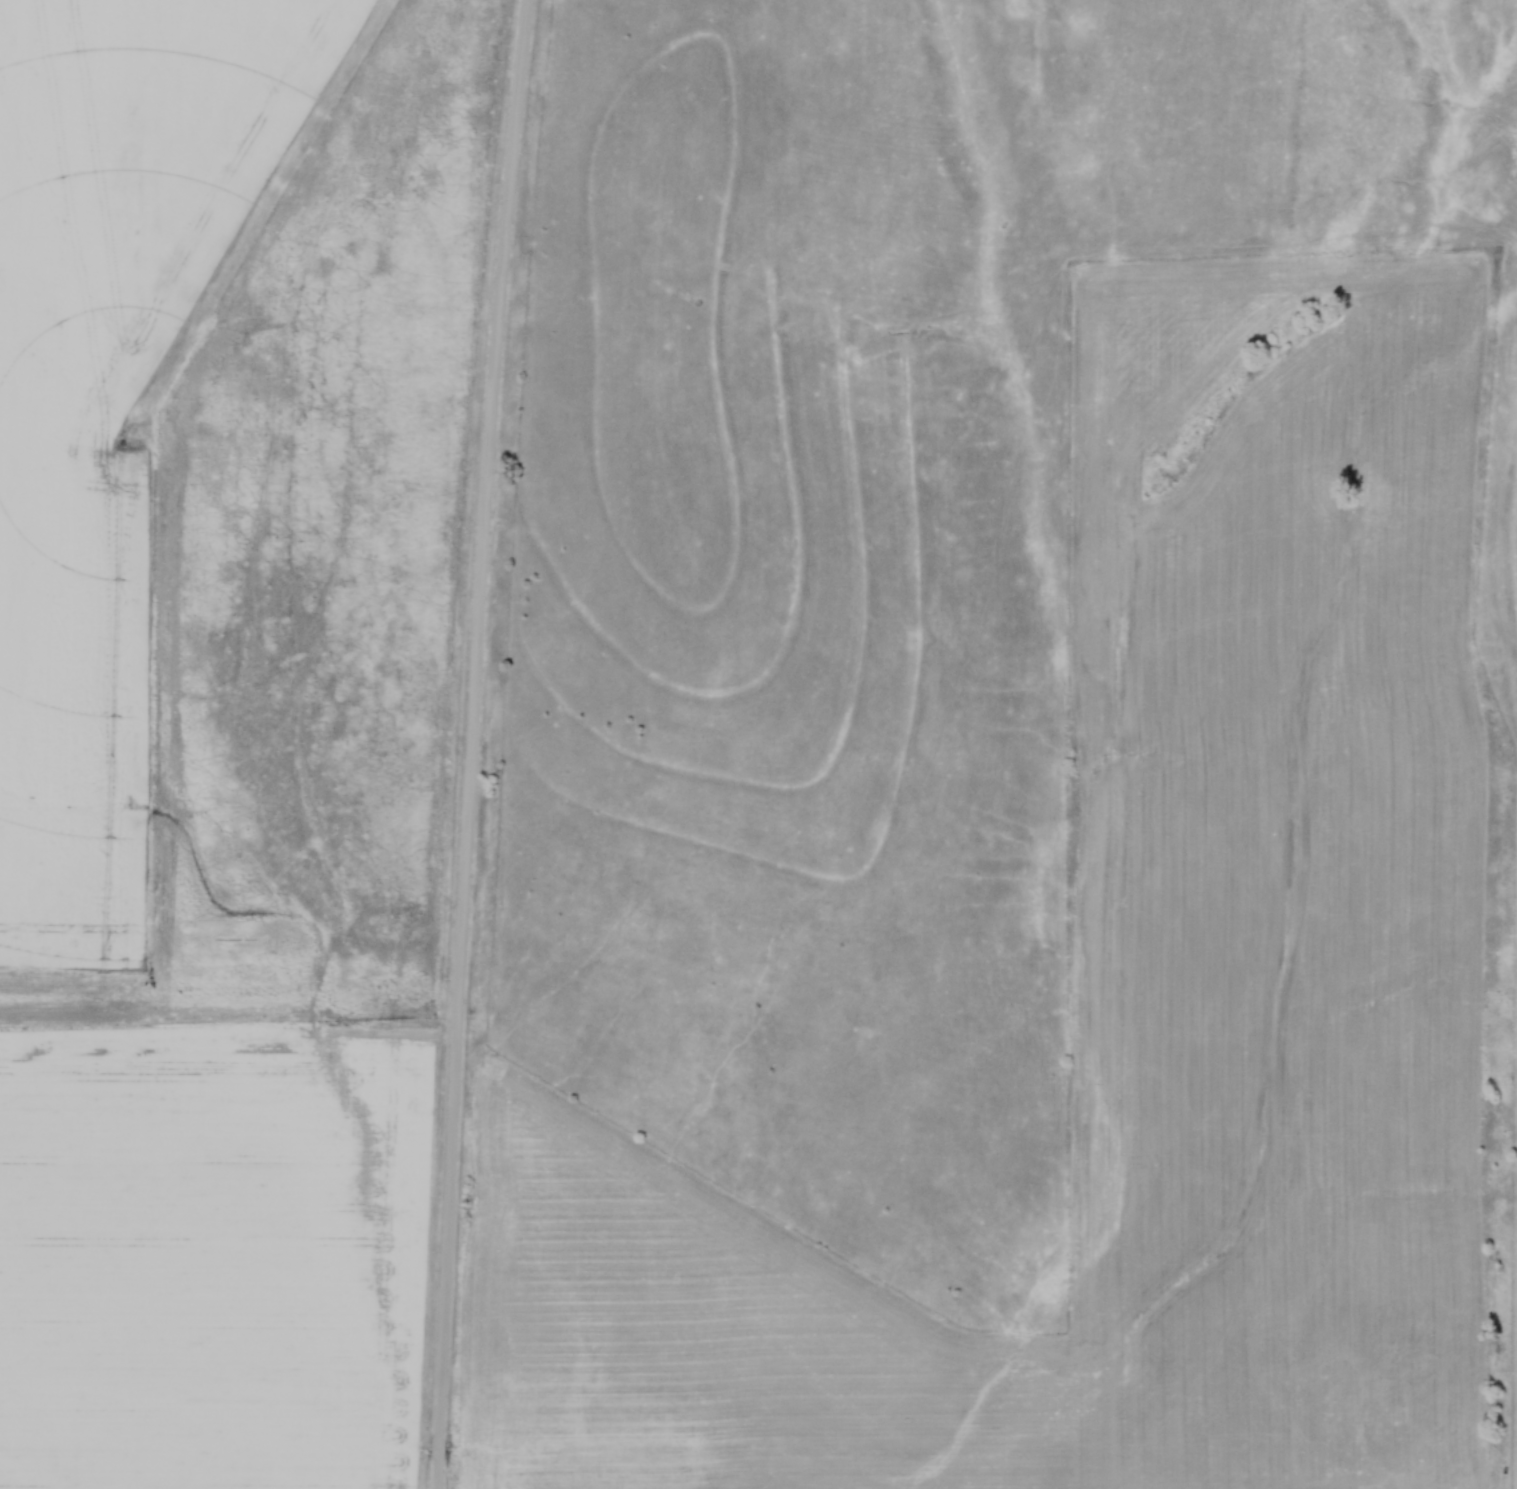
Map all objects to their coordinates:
road: (469, 743)

